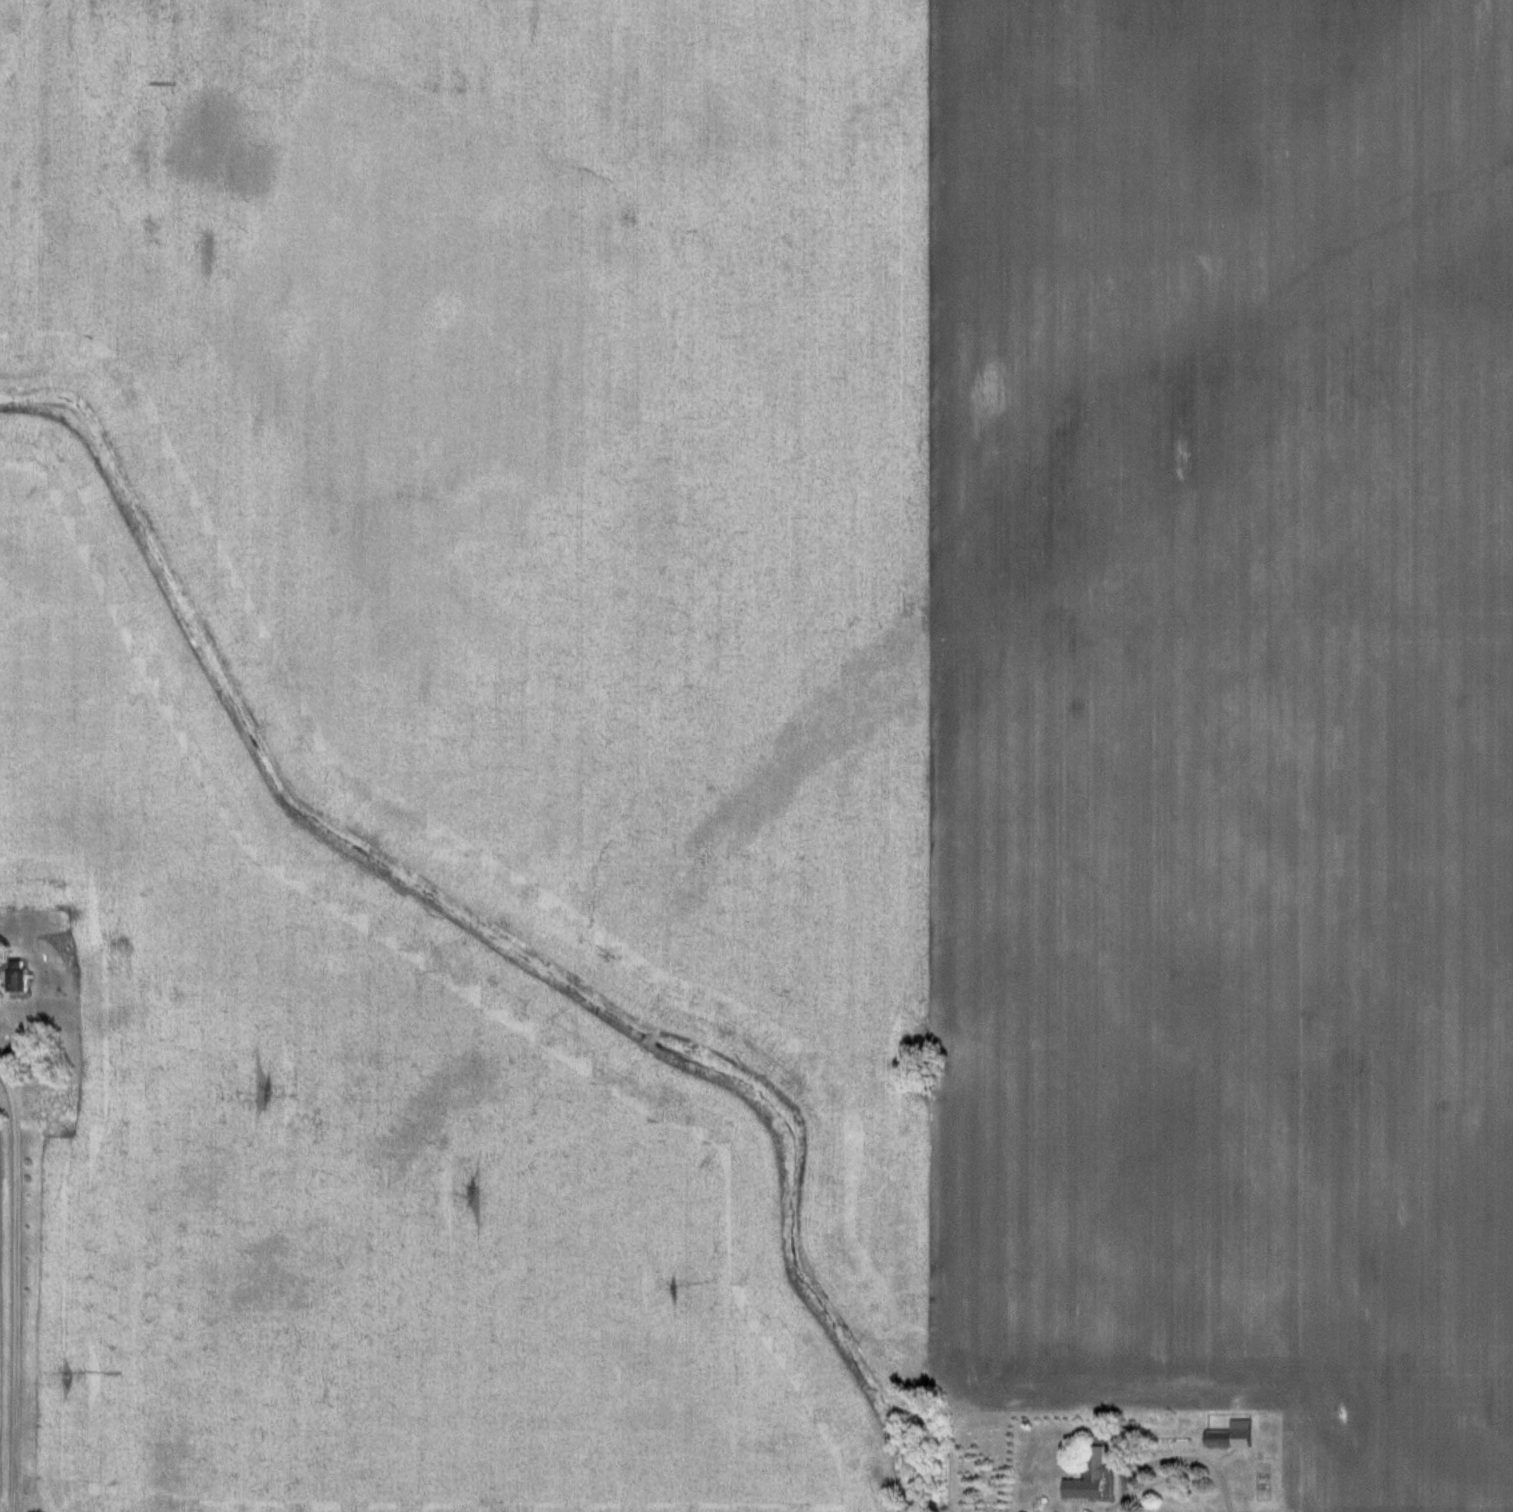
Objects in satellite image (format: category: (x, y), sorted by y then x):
building: (20, 974)
road: (13, 1295)
building: (1231, 1439)
road: (1176, 1460)
building: (1092, 1477)

